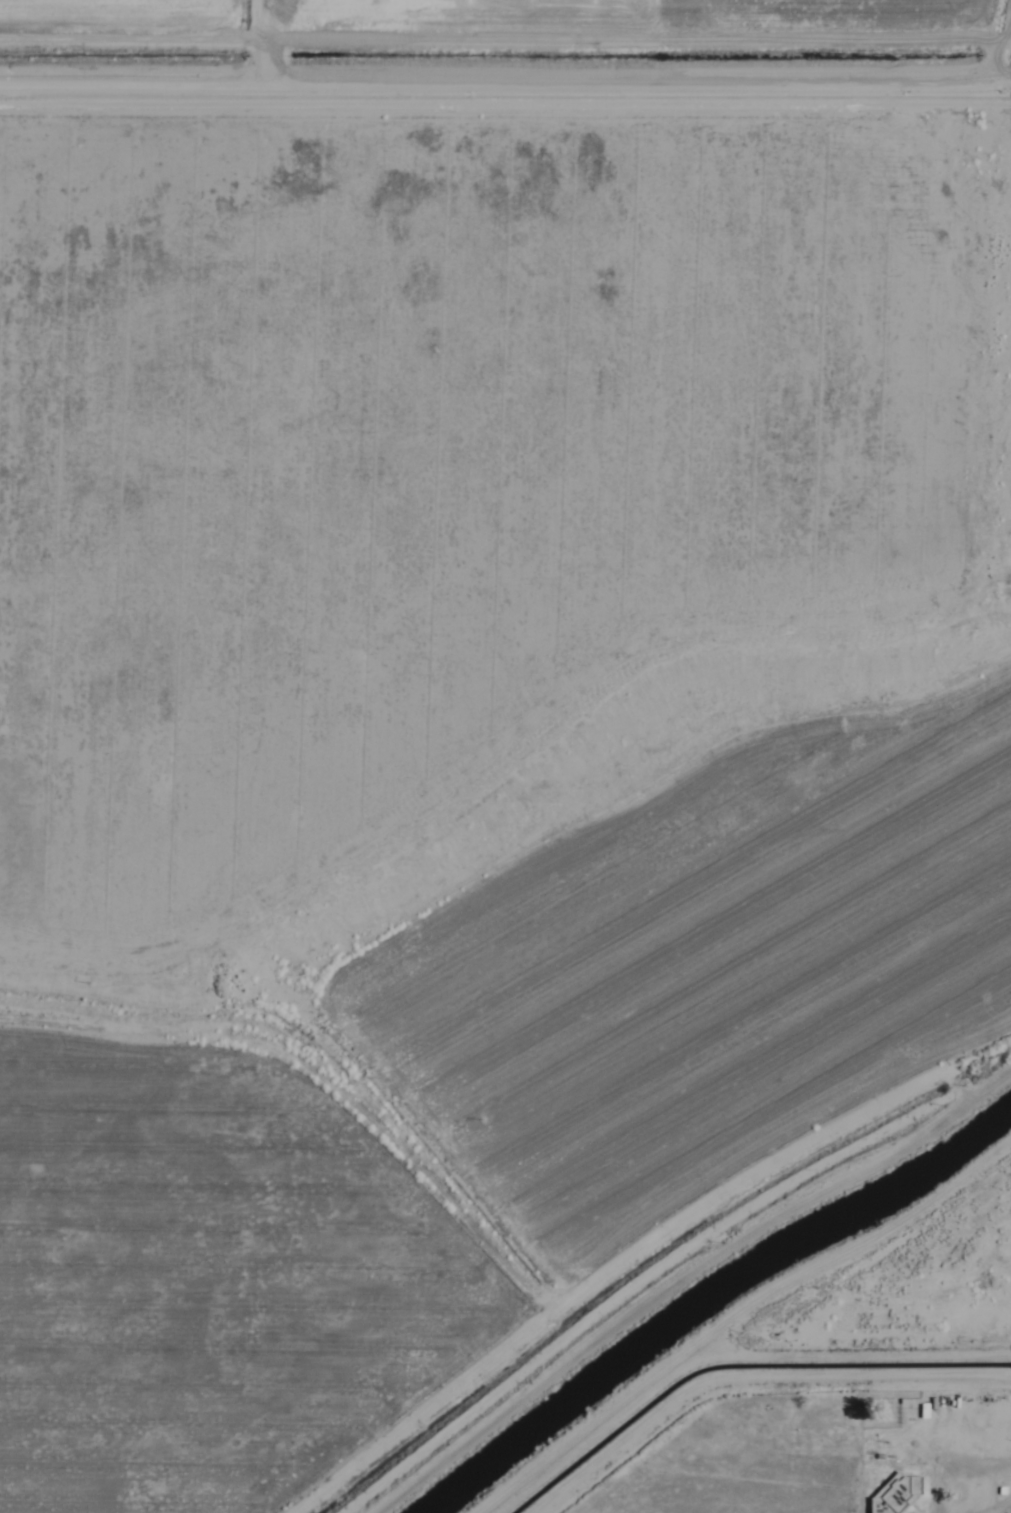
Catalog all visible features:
crop: (505, 756)
building: (893, 1494)

